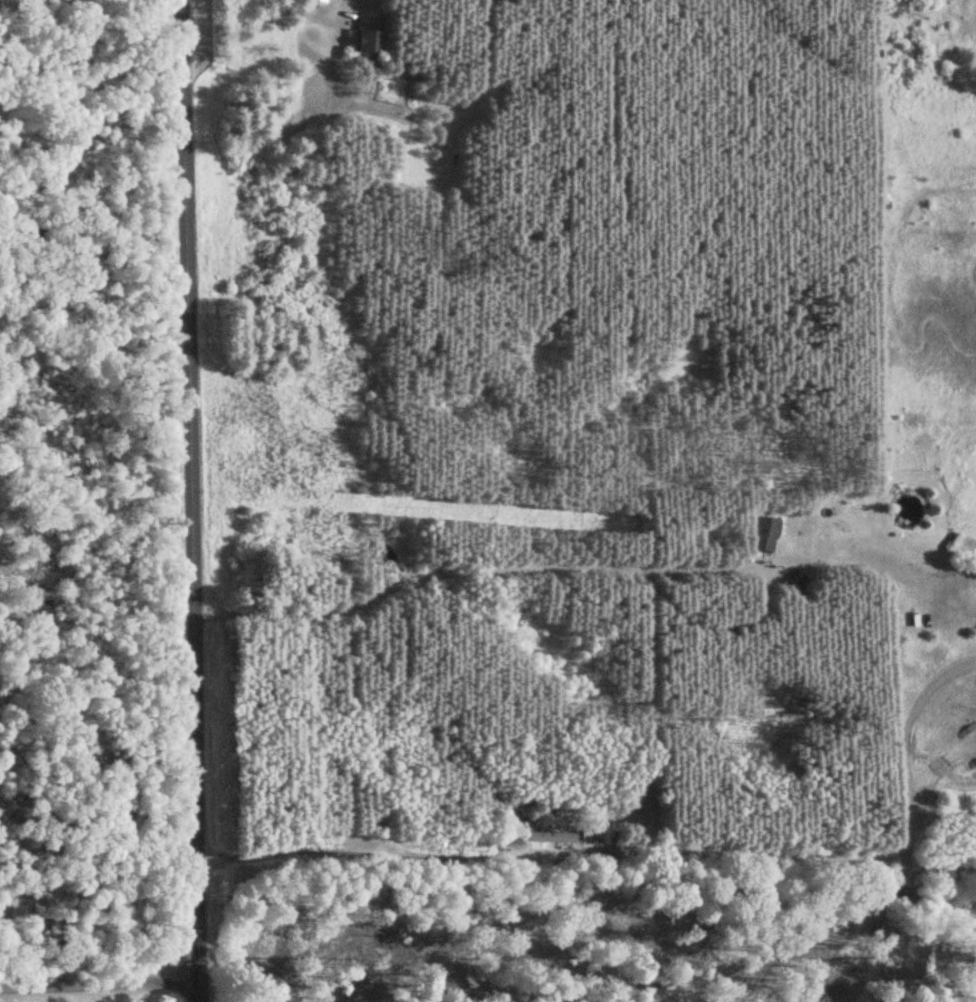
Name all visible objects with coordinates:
building: (368, 37)
road: (194, 501)
building: (764, 534)
road: (469, 571)
building: (552, 838)
road: (93, 983)

